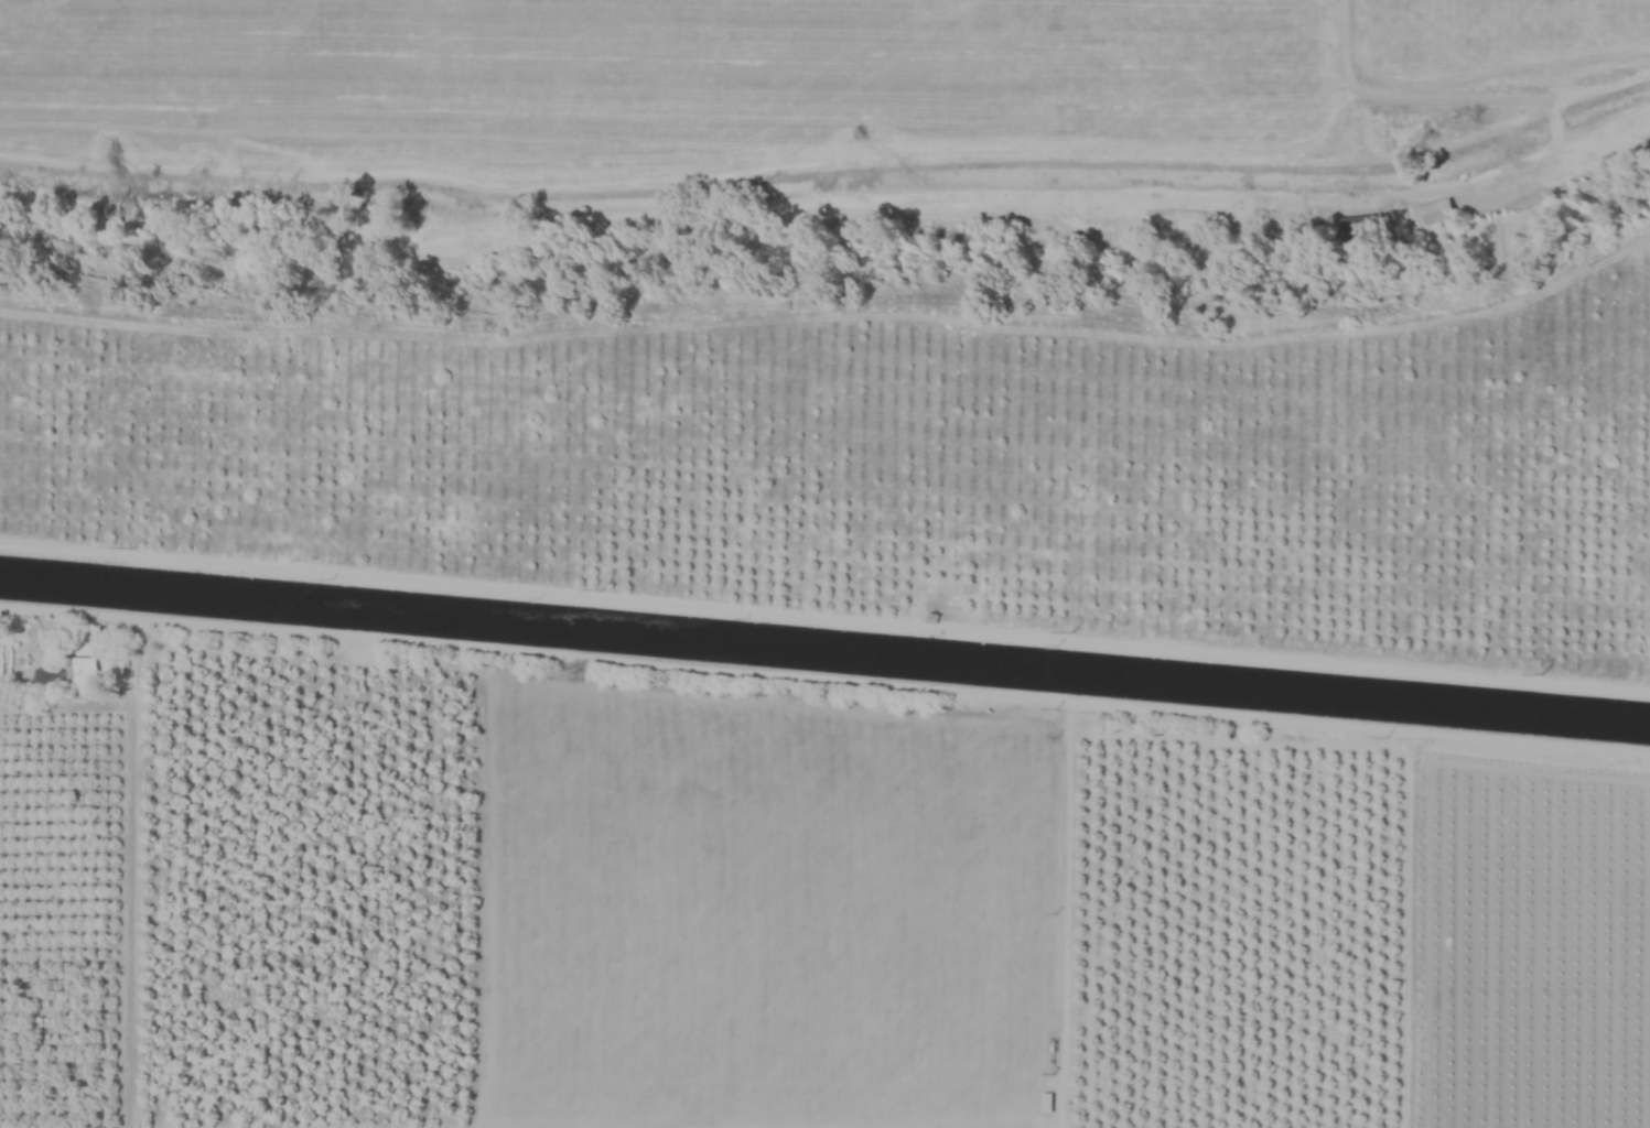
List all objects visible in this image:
crop: (783, 86)
crop: (830, 308)
building: (68, 677)
building: (56, 708)
road: (125, 890)

